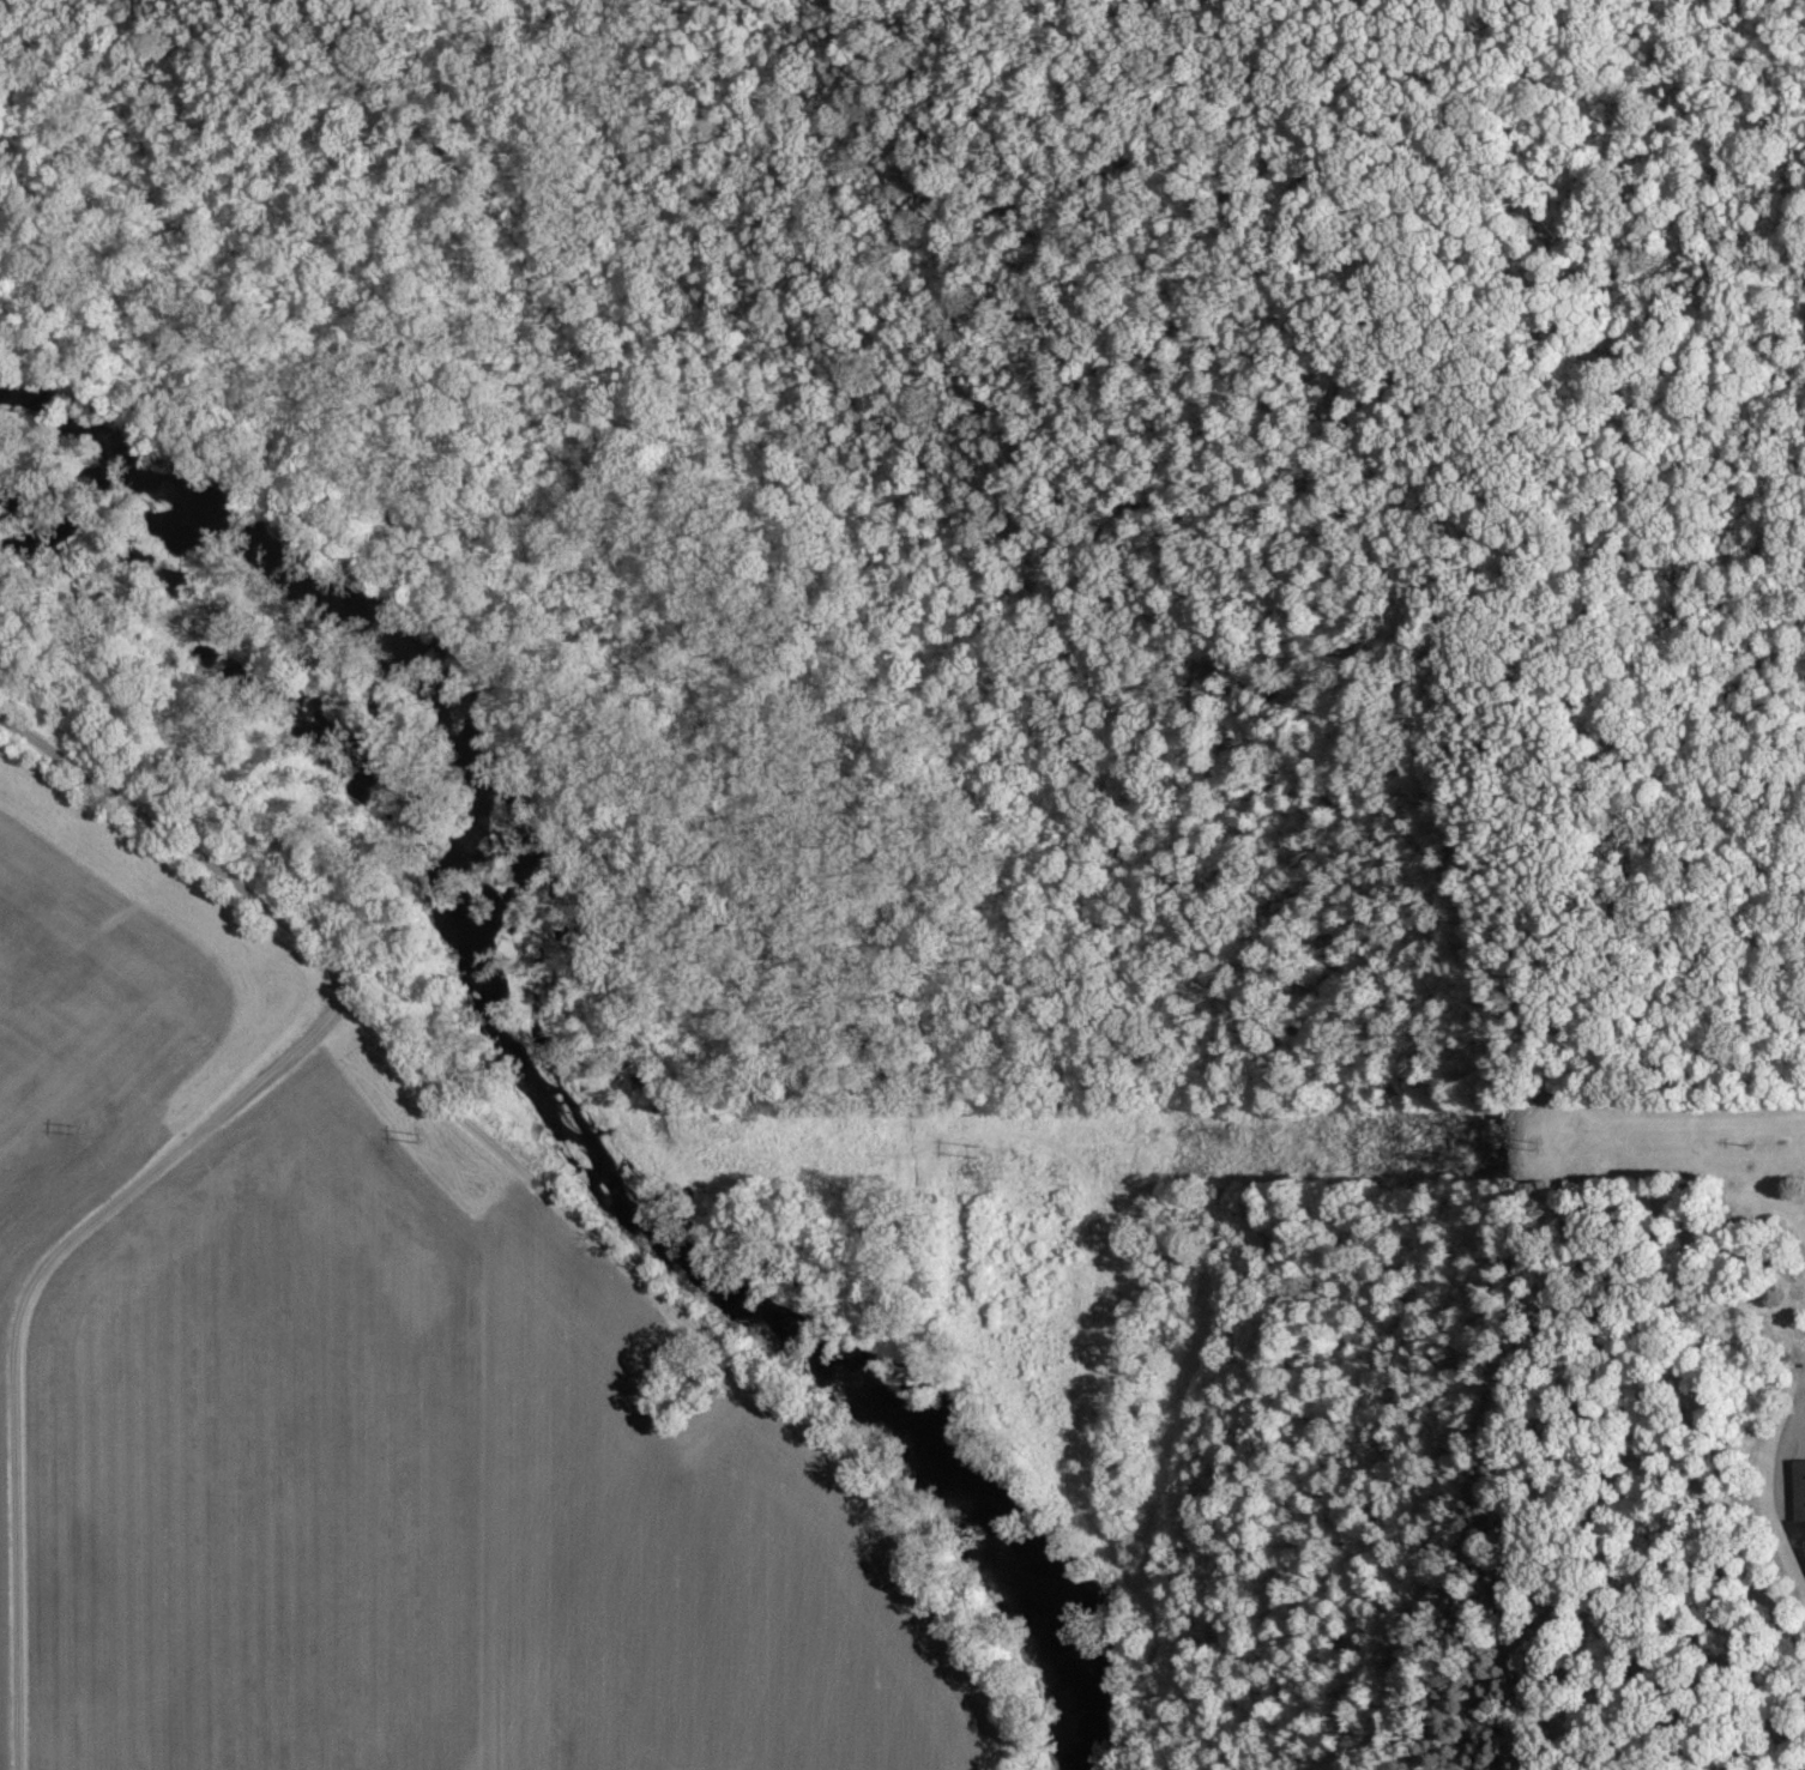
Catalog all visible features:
road: (179, 834)
road: (17, 1305)
road: (716, 1348)

